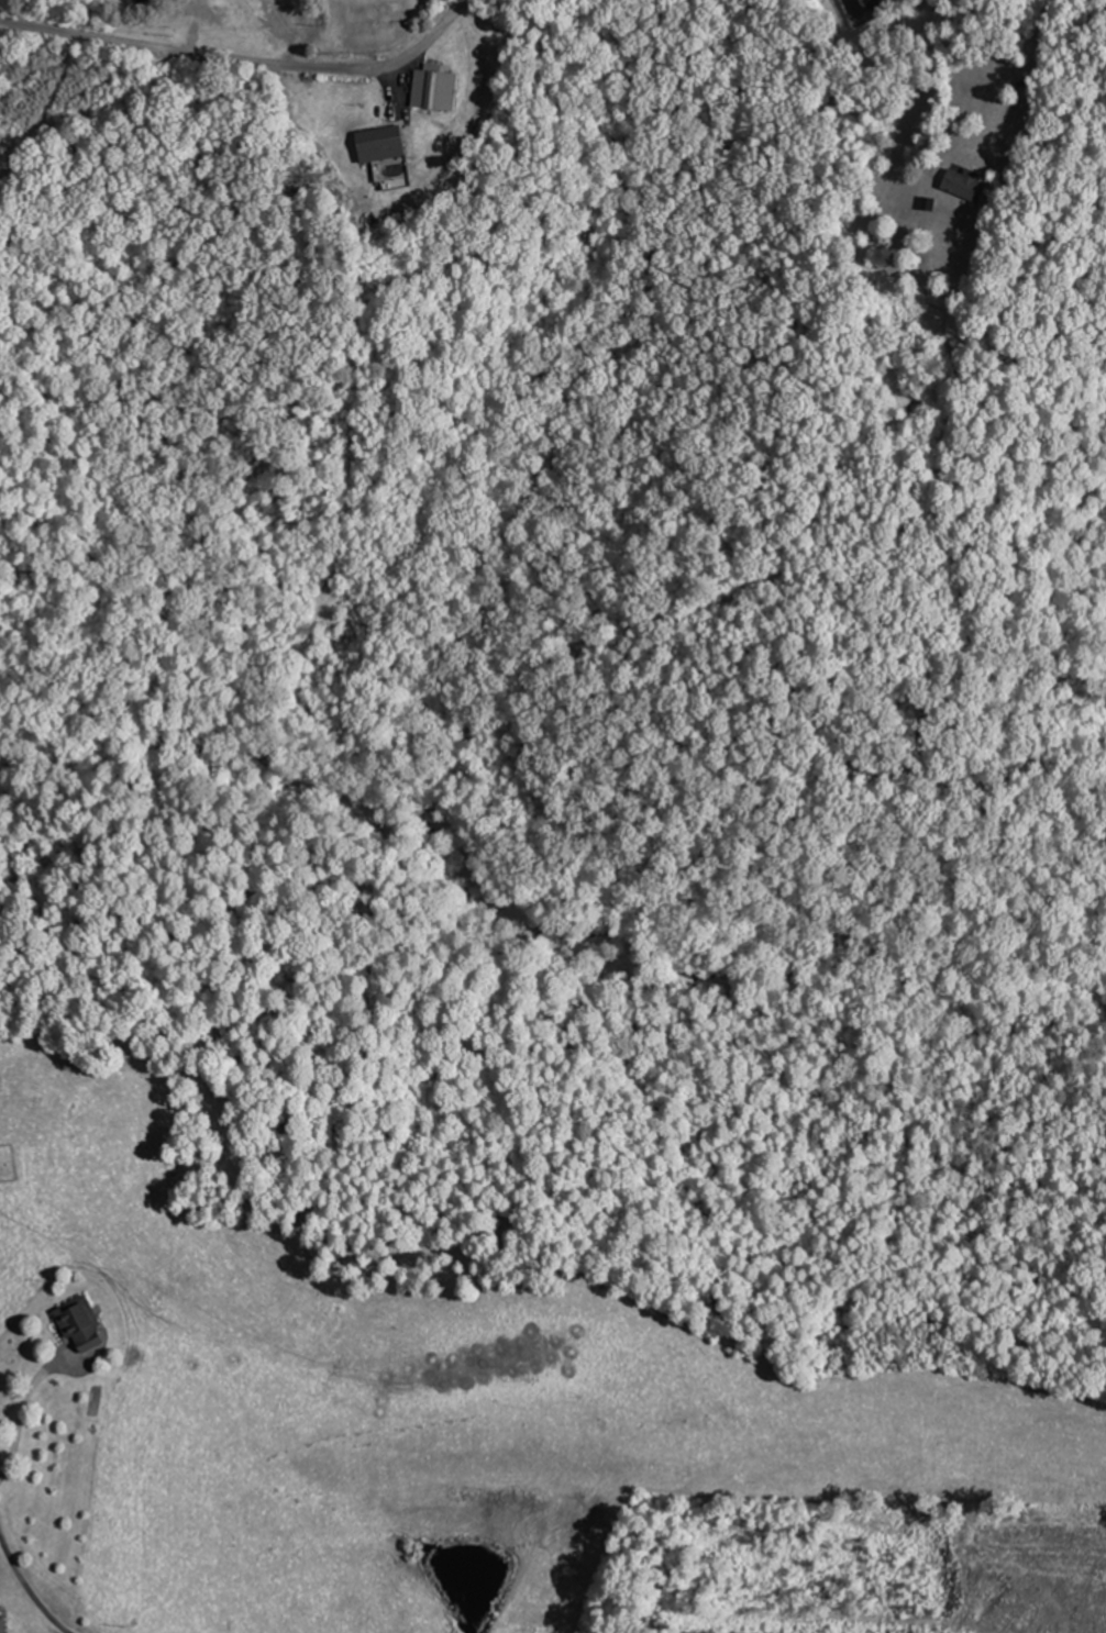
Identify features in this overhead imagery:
building: (861, 11)
building: (213, 14)
road: (246, 63)
building: (444, 89)
building: (389, 143)
building: (969, 187)
road: (810, 262)
building: (88, 1325)
road: (30, 1586)
building: (7, 1624)

